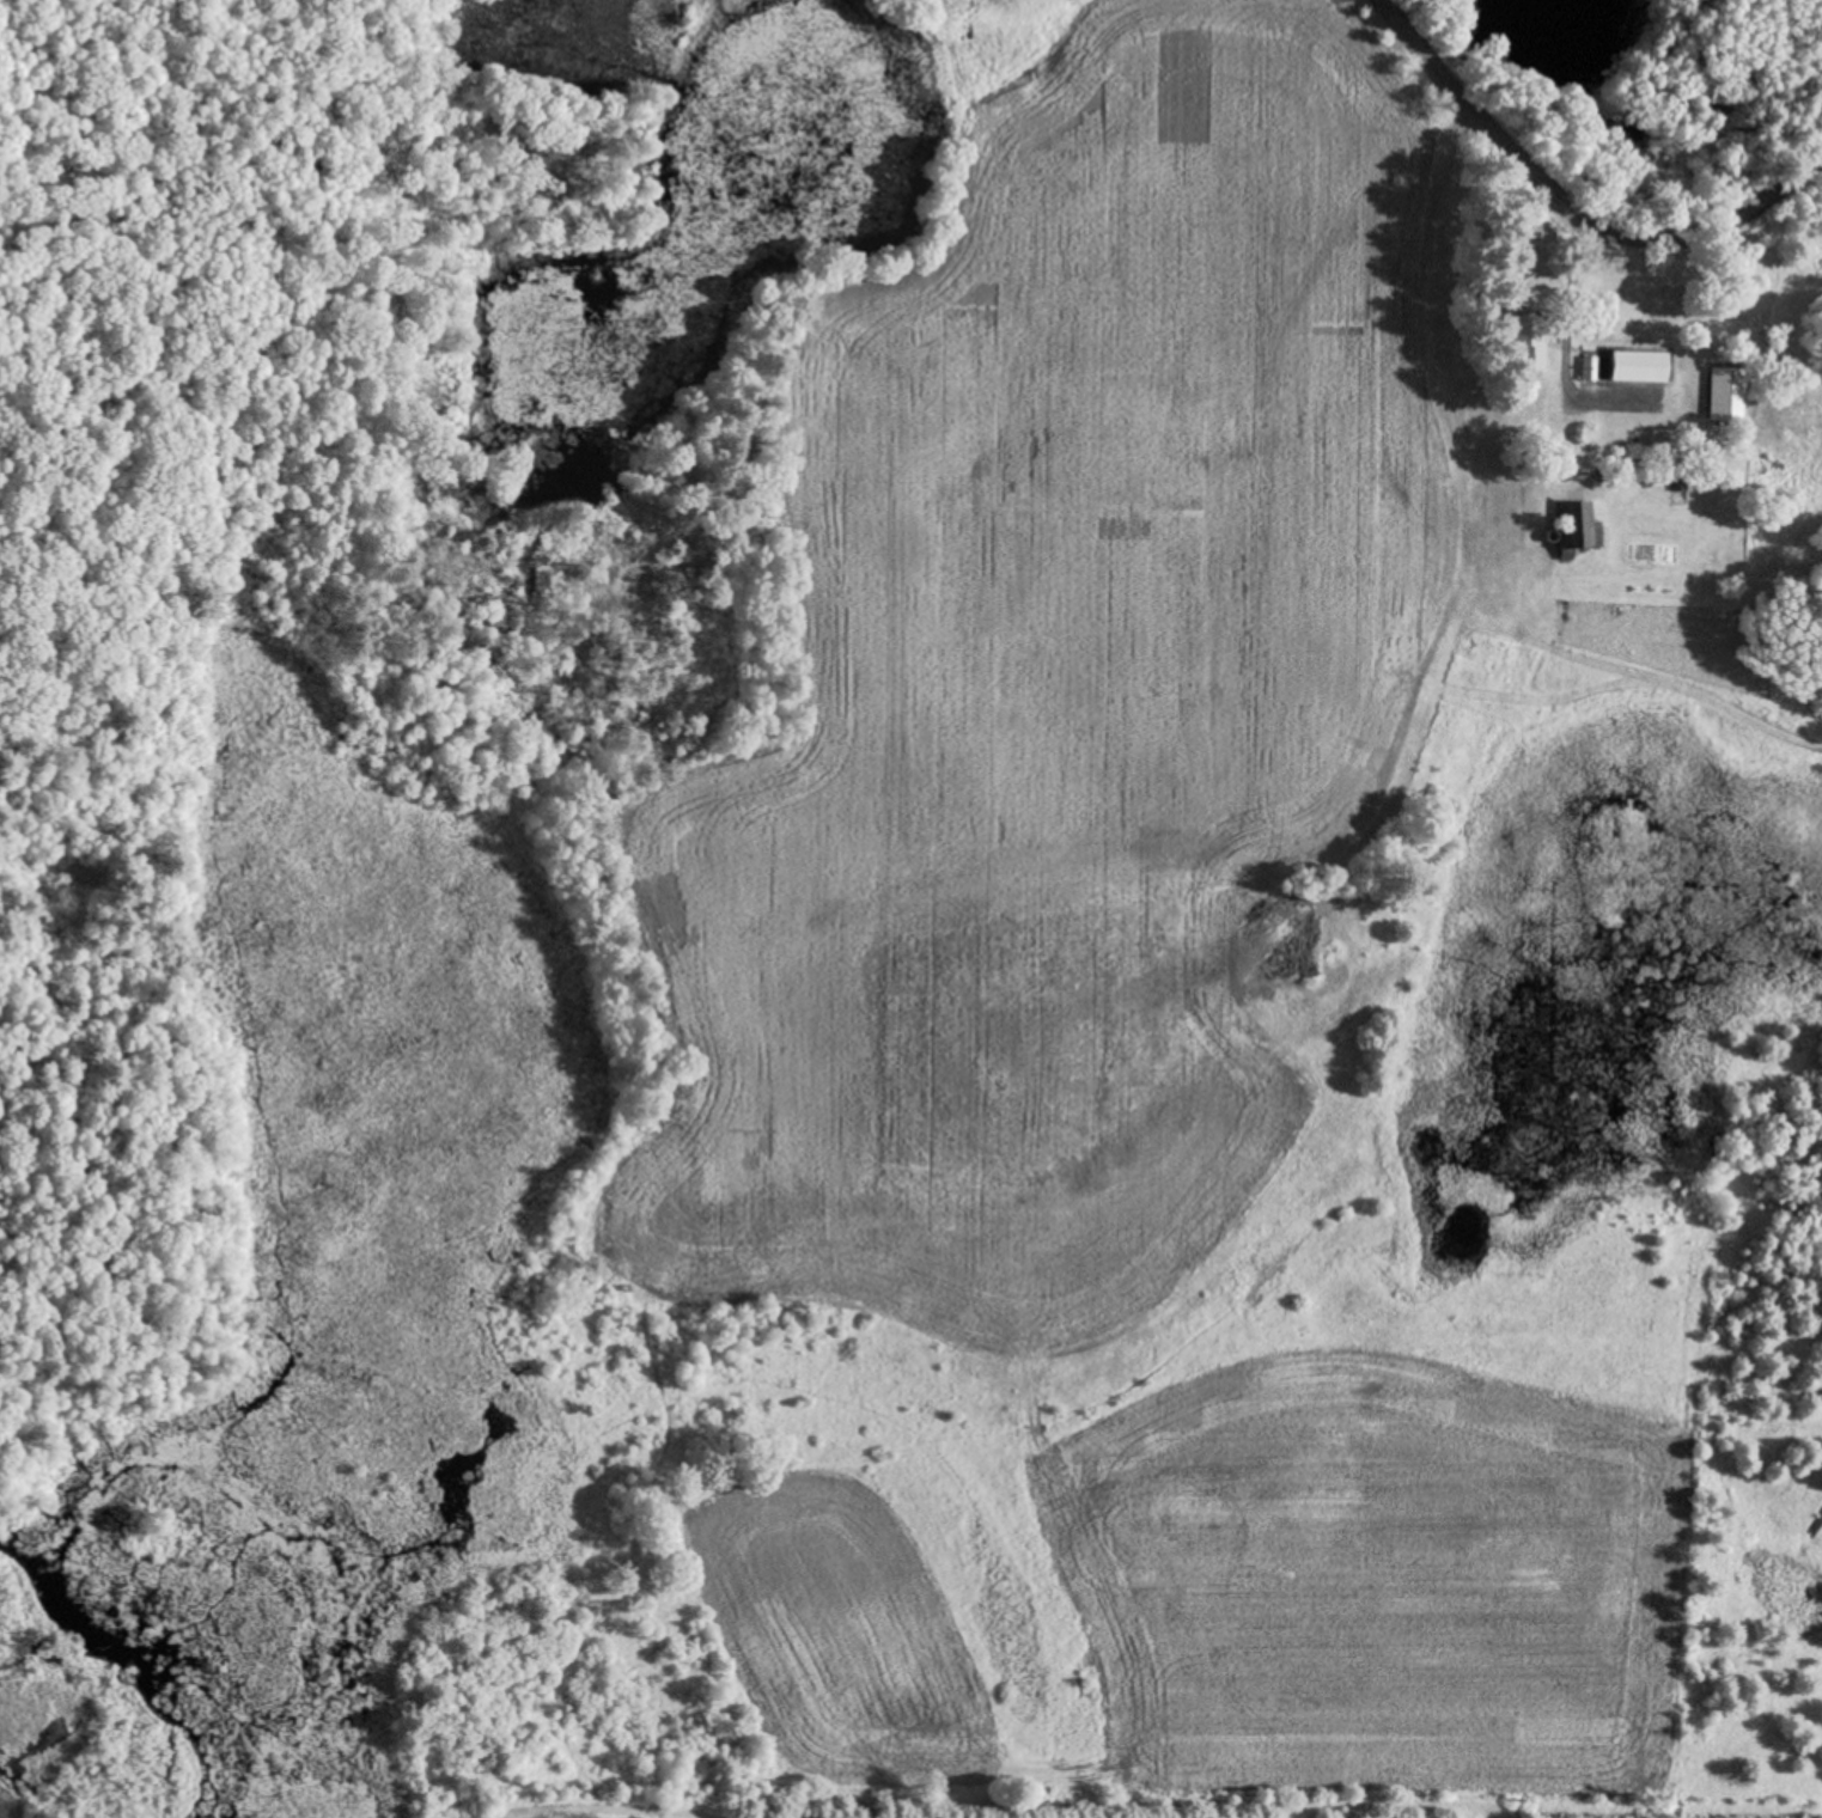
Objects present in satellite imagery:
road: (1542, 200)
building: (1527, 343)
building: (1639, 370)
building: (1726, 396)
building: (1576, 527)

